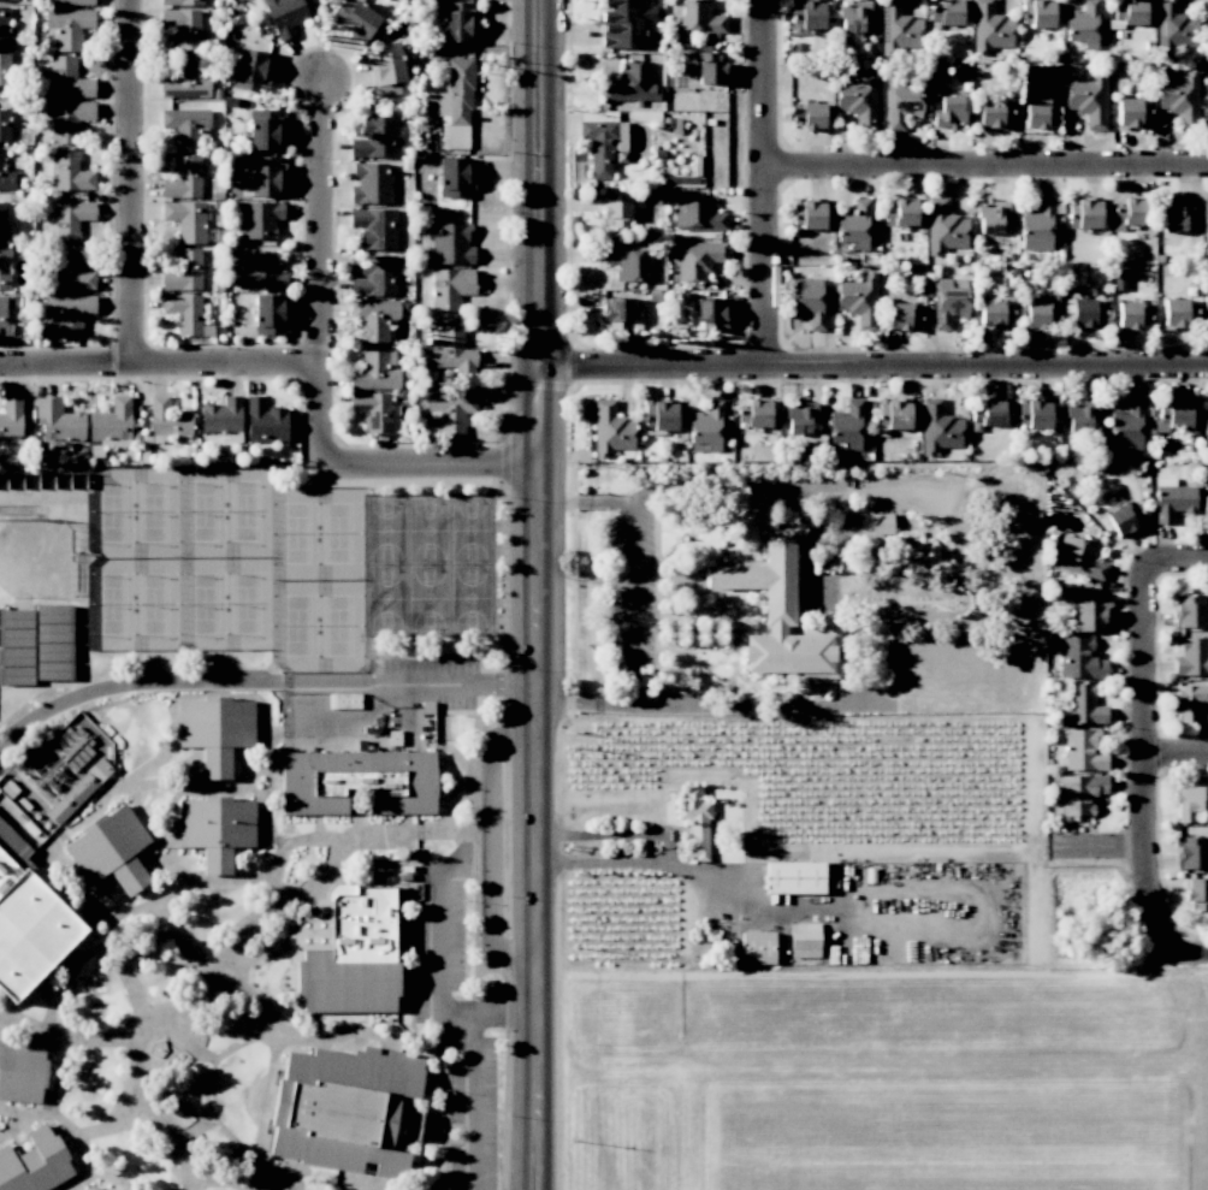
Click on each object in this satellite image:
building: (7, 0)
building: (69, 2)
building: (182, 2)
building: (946, 12)
building: (1129, 12)
building: (807, 13)
building: (1037, 13)
building: (1206, 13)
building: (284, 16)
building: (852, 16)
building: (355, 18)
building: (698, 18)
building: (456, 22)
building: (624, 22)
building: (4, 26)
building: (69, 26)
building: (183, 26)
building: (1083, 26)
building: (1173, 26)
building: (898, 28)
building: (989, 28)
building: (710, 66)
building: (386, 69)
building: (5, 70)
building: (250, 70)
building: (69, 77)
building: (1207, 78)
building: (186, 79)
building: (632, 83)
building: (1180, 99)
building: (858, 100)
building: (1088, 100)
building: (901, 102)
building: (457, 103)
building: (949, 112)
building: (1041, 112)
building: (1132, 114)
building: (809, 116)
building: (994, 116)
building: (69, 119)
building: (4, 125)
building: (188, 129)
building: (265, 130)
building: (375, 138)
building: (603, 141)
road: (988, 164)
building: (71, 171)
road: (569, 172)
building: (6, 174)
building: (263, 177)
building: (454, 178)
building: (183, 179)
road: (134, 182)
road: (768, 182)
building: (371, 183)
building: (615, 212)
building: (900, 213)
building: (1129, 213)
building: (697, 214)
building: (807, 214)
building: (1084, 214)
building: (1177, 214)
building: (991, 215)
building: (72, 219)
building: (257, 219)
building: (185, 220)
building: (2, 221)
building: (1204, 223)
building: (855, 225)
building: (1038, 226)
building: (374, 227)
building: (943, 227)
building: (451, 244)
building: (697, 259)
building: (629, 262)
building: (4, 268)
building: (70, 271)
building: (260, 271)
building: (183, 272)
road: (319, 273)
building: (375, 277)
building: (450, 288)
building: (858, 300)
building: (948, 301)
building: (809, 302)
building: (1206, 310)
building: (70, 312)
building: (184, 312)
building: (1042, 312)
building: (268, 314)
building: (616, 314)
building: (710, 314)
building: (1086, 314)
building: (1178, 314)
building: (995, 315)
building: (1133, 315)
building: (2, 316)
building: (902, 316)
building: (374, 319)
building: (451, 351)
road: (158, 363)
road: (569, 365)
road: (874, 366)
building: (375, 369)
building: (452, 409)
building: (373, 410)
building: (754, 412)
building: (988, 414)
building: (1034, 414)
building: (1173, 414)
building: (659, 415)
building: (893, 415)
building: (1080, 415)
building: (11, 416)
building: (221, 416)
building: (800, 416)
building: (58, 420)
building: (112, 421)
building: (167, 422)
building: (265, 422)
building: (848, 425)
building: (707, 426)
building: (1127, 426)
building: (1204, 426)
building: (938, 428)
building: (611, 430)
road: (433, 464)
road: (792, 484)
road: (582, 499)
building: (1172, 499)
building: (1204, 510)
building: (1125, 517)
building: (881, 523)
road: (573, 545)
building: (1079, 558)
road: (1177, 560)
road: (538, 594)
road: (633, 600)
building: (1189, 611)
building: (777, 614)
building: (1089, 614)
building: (52, 643)
building: (16, 647)
building: (1191, 657)
building: (1079, 659)
road: (261, 683)
road: (746, 701)
road: (586, 703)
building: (1191, 704)
building: (1083, 706)
building: (215, 732)
building: (1083, 751)
road: (1176, 754)
building: (61, 758)
road: (1143, 758)
building: (357, 782)
building: (78, 792)
building: (1080, 794)
building: (1190, 803)
building: (694, 822)
building: (215, 830)
road: (618, 834)
road: (487, 845)
building: (109, 849)
road: (1100, 849)
building: (1190, 852)
building: (794, 877)
road: (697, 878)
building: (1196, 893)
building: (28, 922)
building: (804, 940)
building: (757, 948)
building: (347, 952)
road: (1192, 953)
road: (443, 963)
road: (473, 1071)
building: (22, 1072)
building: (342, 1108)
building: (35, 1162)
building: (89, 1189)

